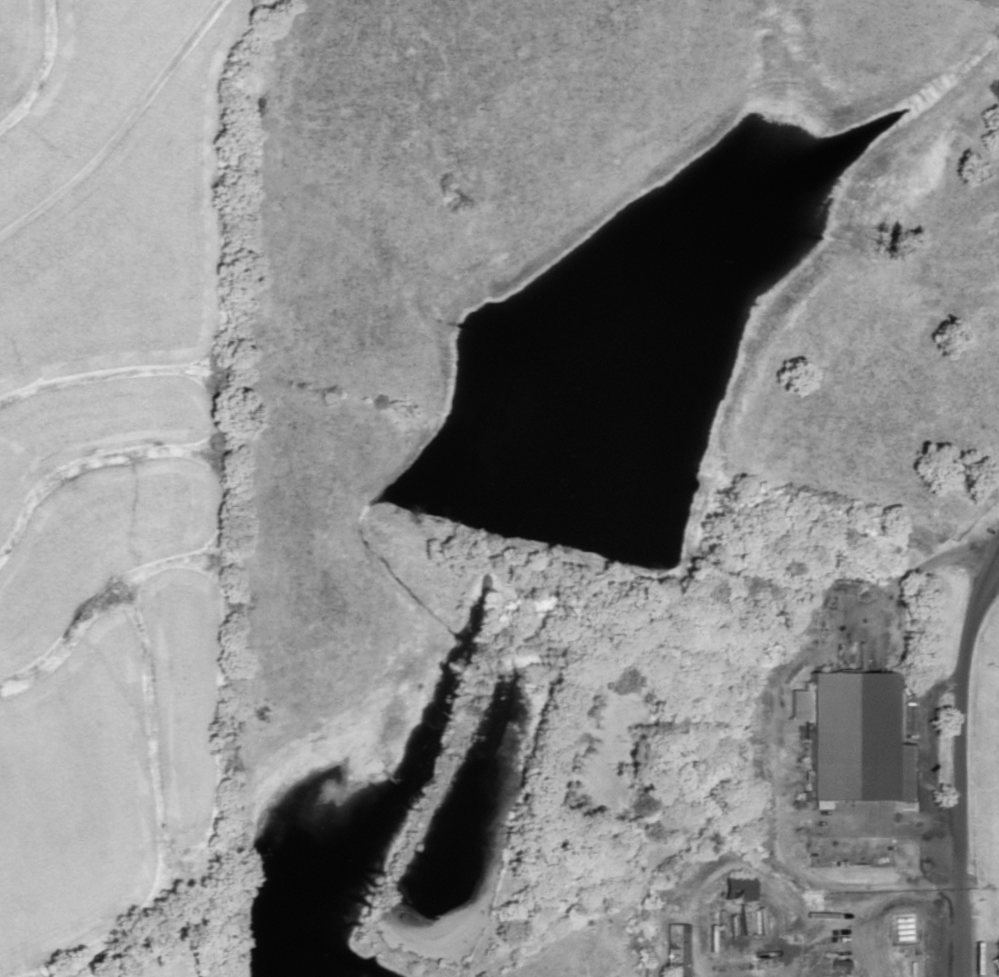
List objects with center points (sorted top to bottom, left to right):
building: (851, 737)
road: (979, 746)
building: (738, 889)
building: (676, 950)
building: (839, 967)

